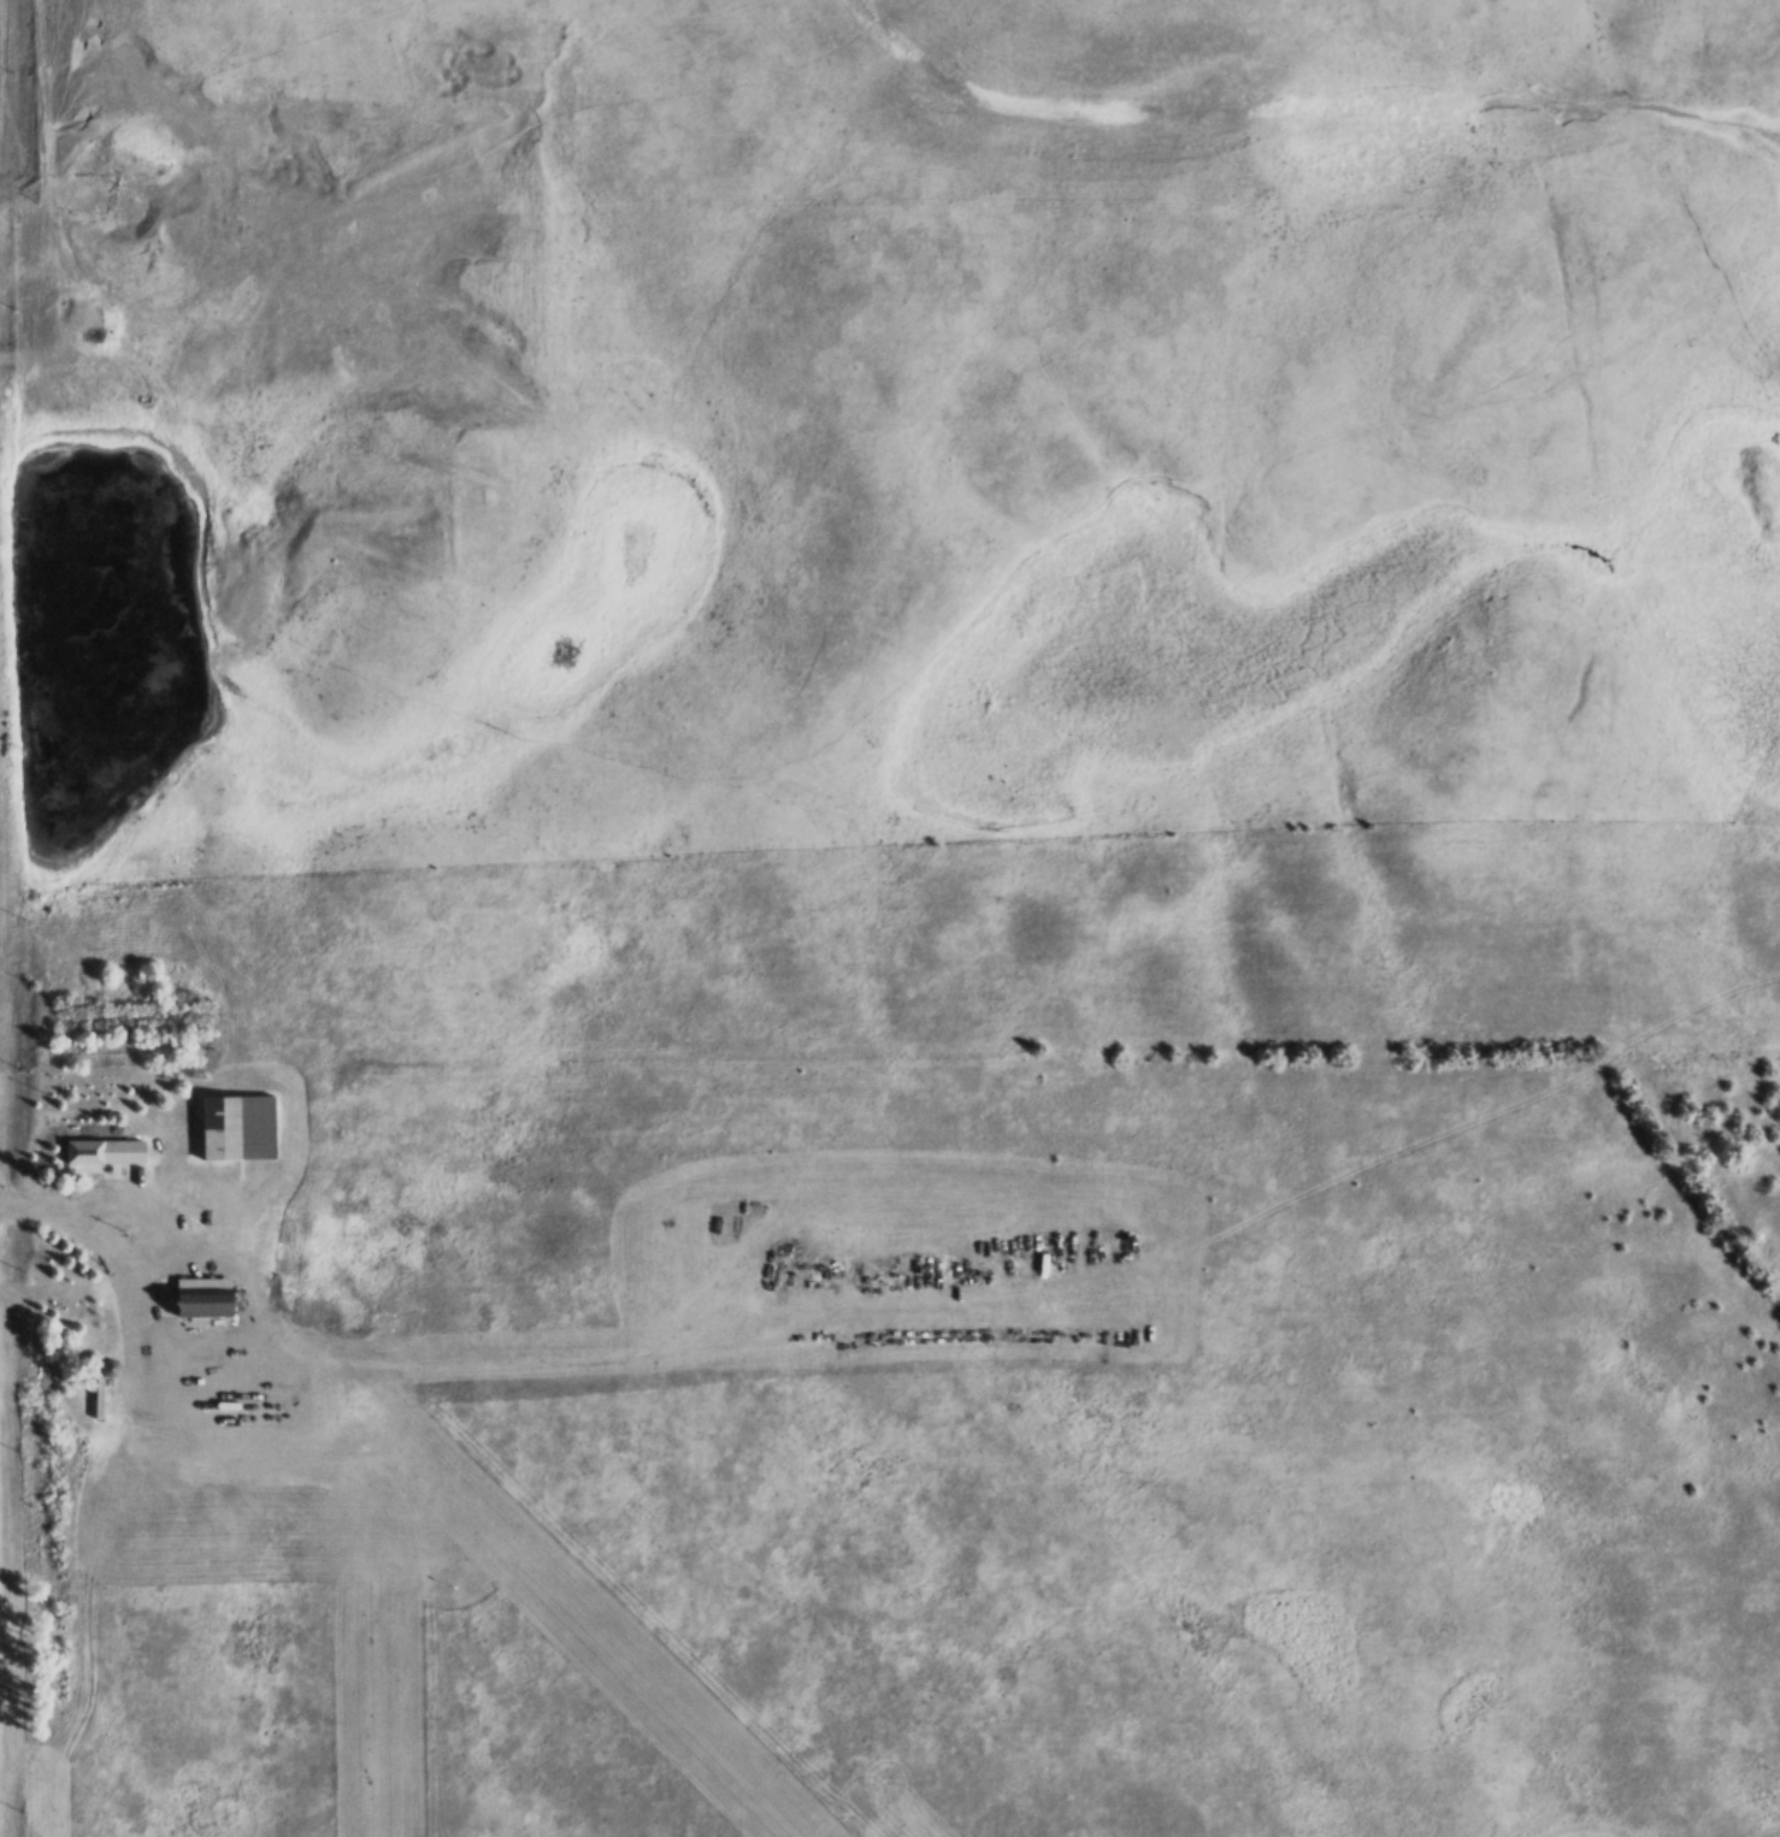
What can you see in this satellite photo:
building: (241, 1122)
building: (104, 1159)
building: (198, 1303)
building: (120, 1489)
airport runway: (371, 1635)
airport runway: (578, 1656)

